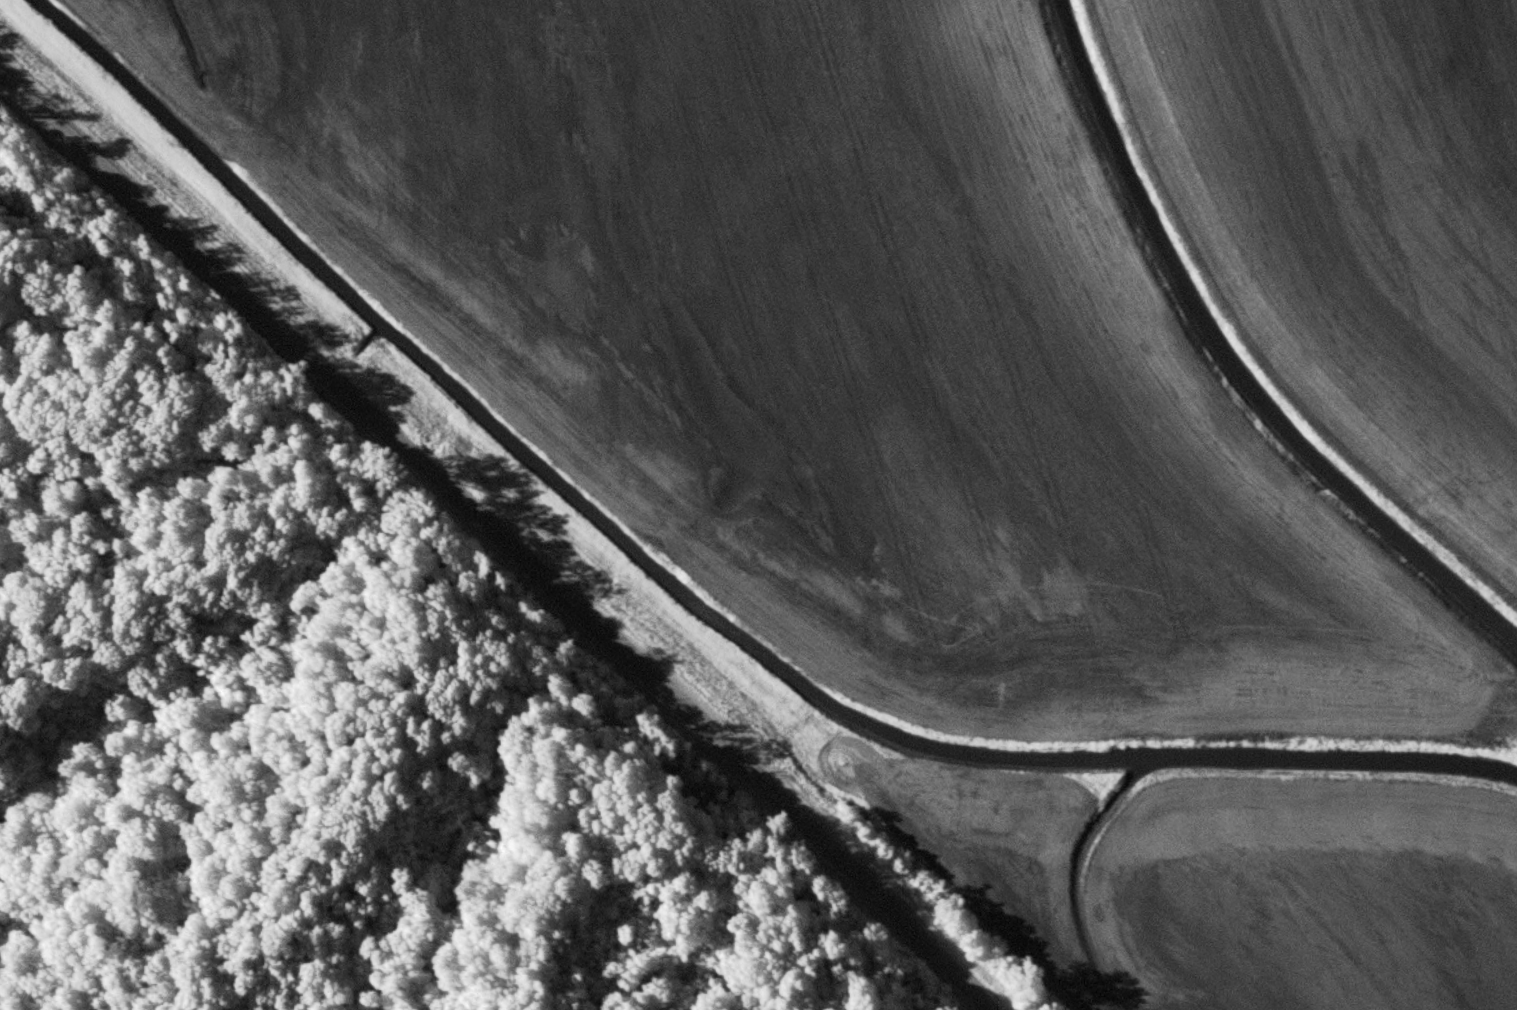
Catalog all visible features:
road: (490, 544)

